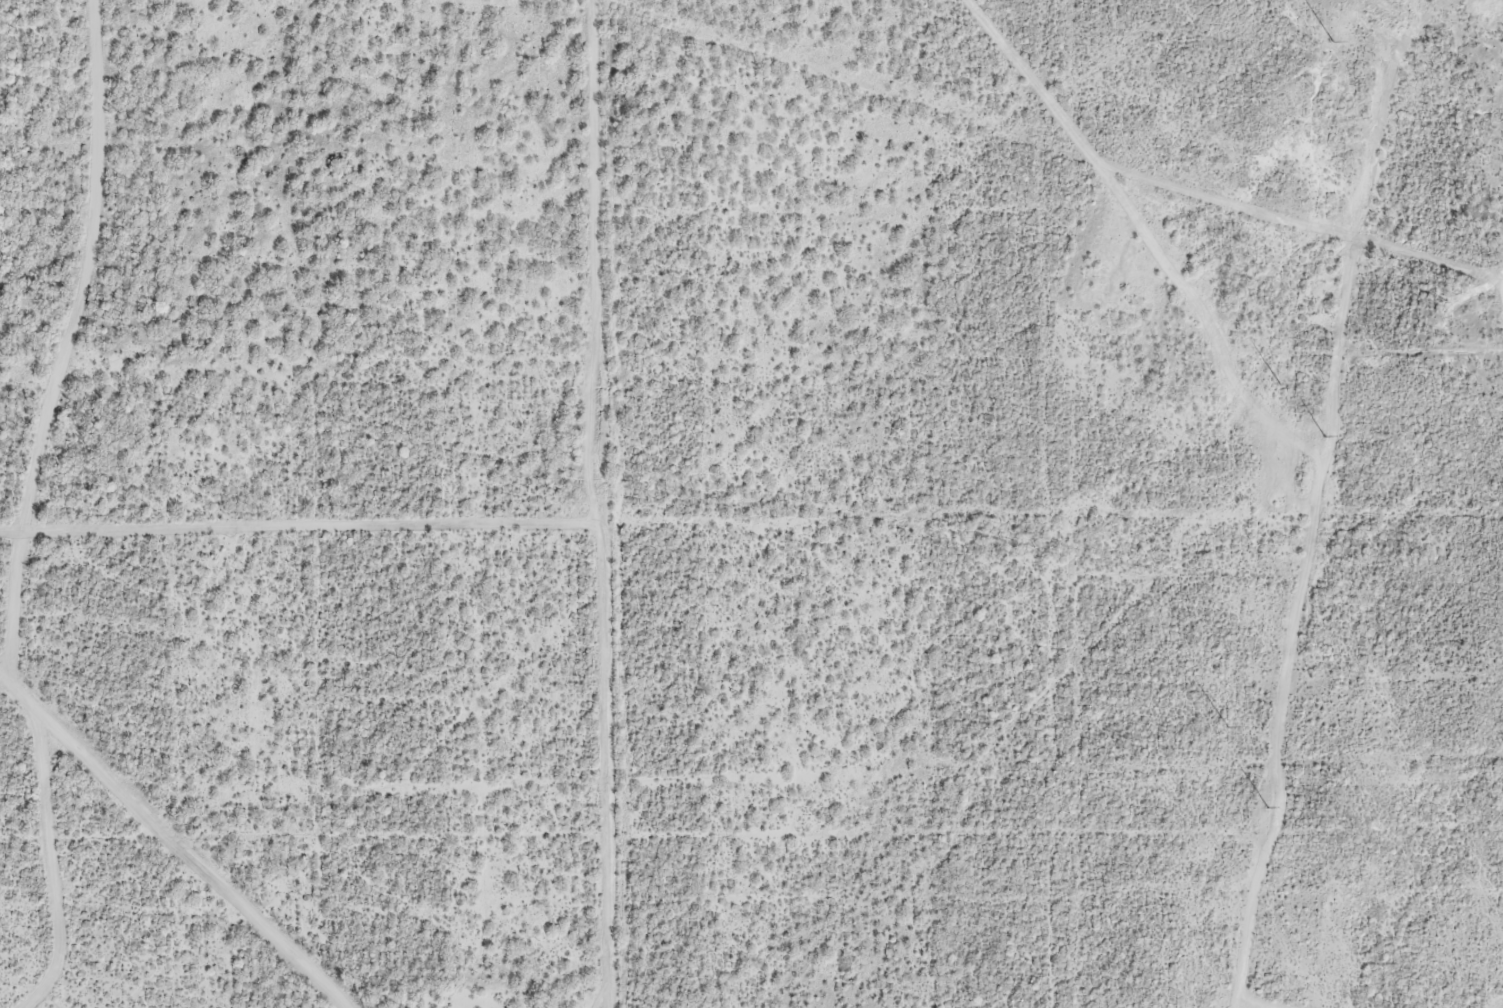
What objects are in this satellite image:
power tower: (1332, 43)
power tower: (1279, 385)
power tower: (1325, 437)
power tower: (1226, 726)
power tower: (1267, 808)

